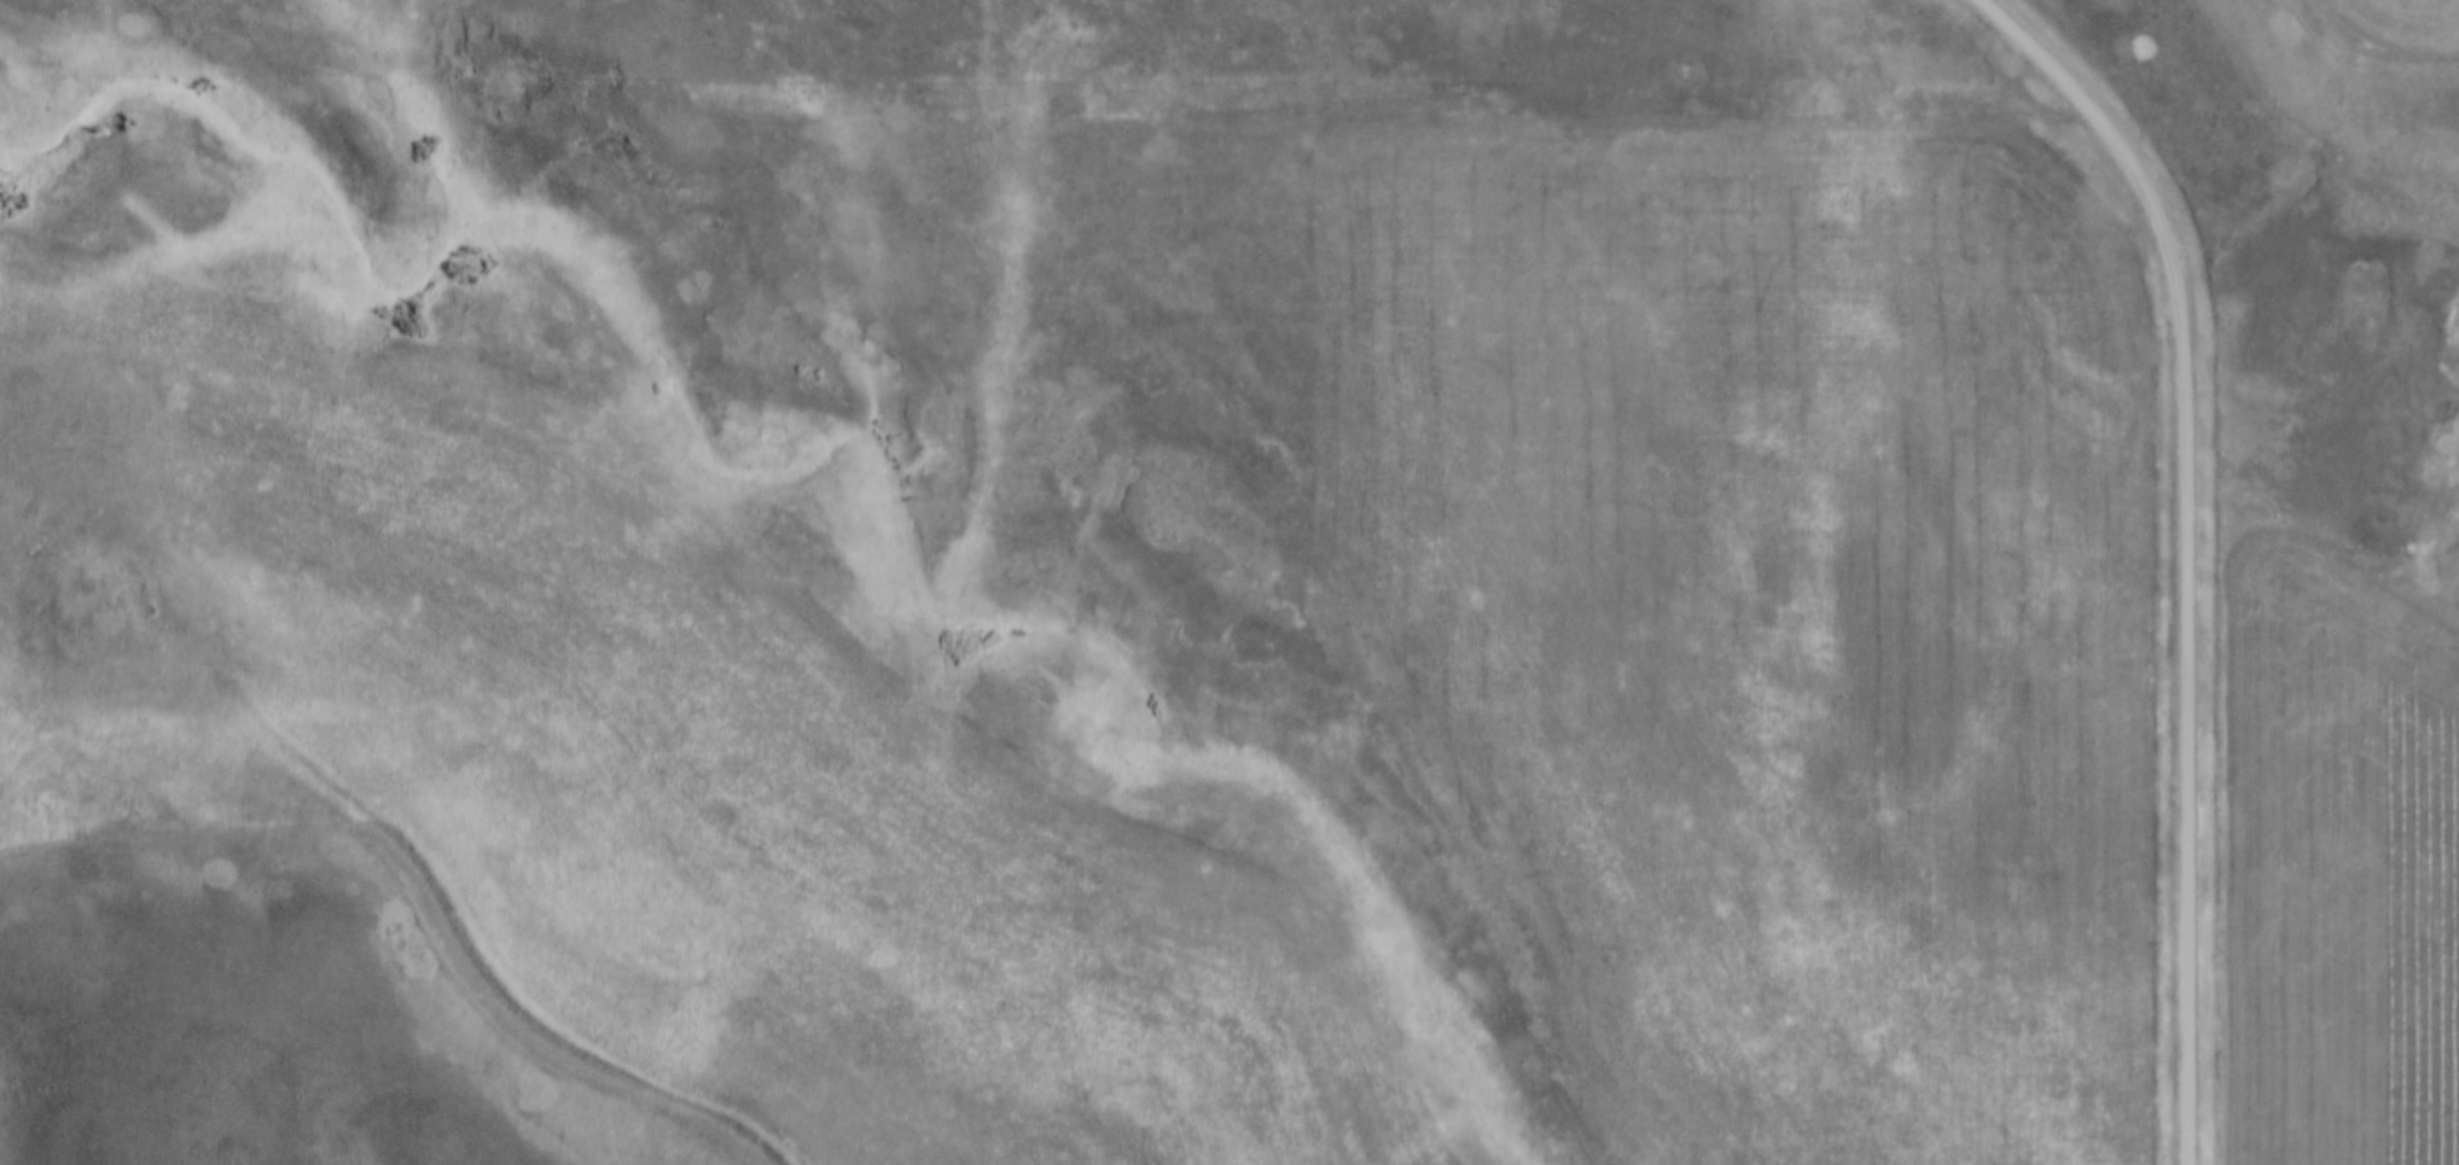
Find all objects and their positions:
road: (1990, 14)
road: (2181, 567)

